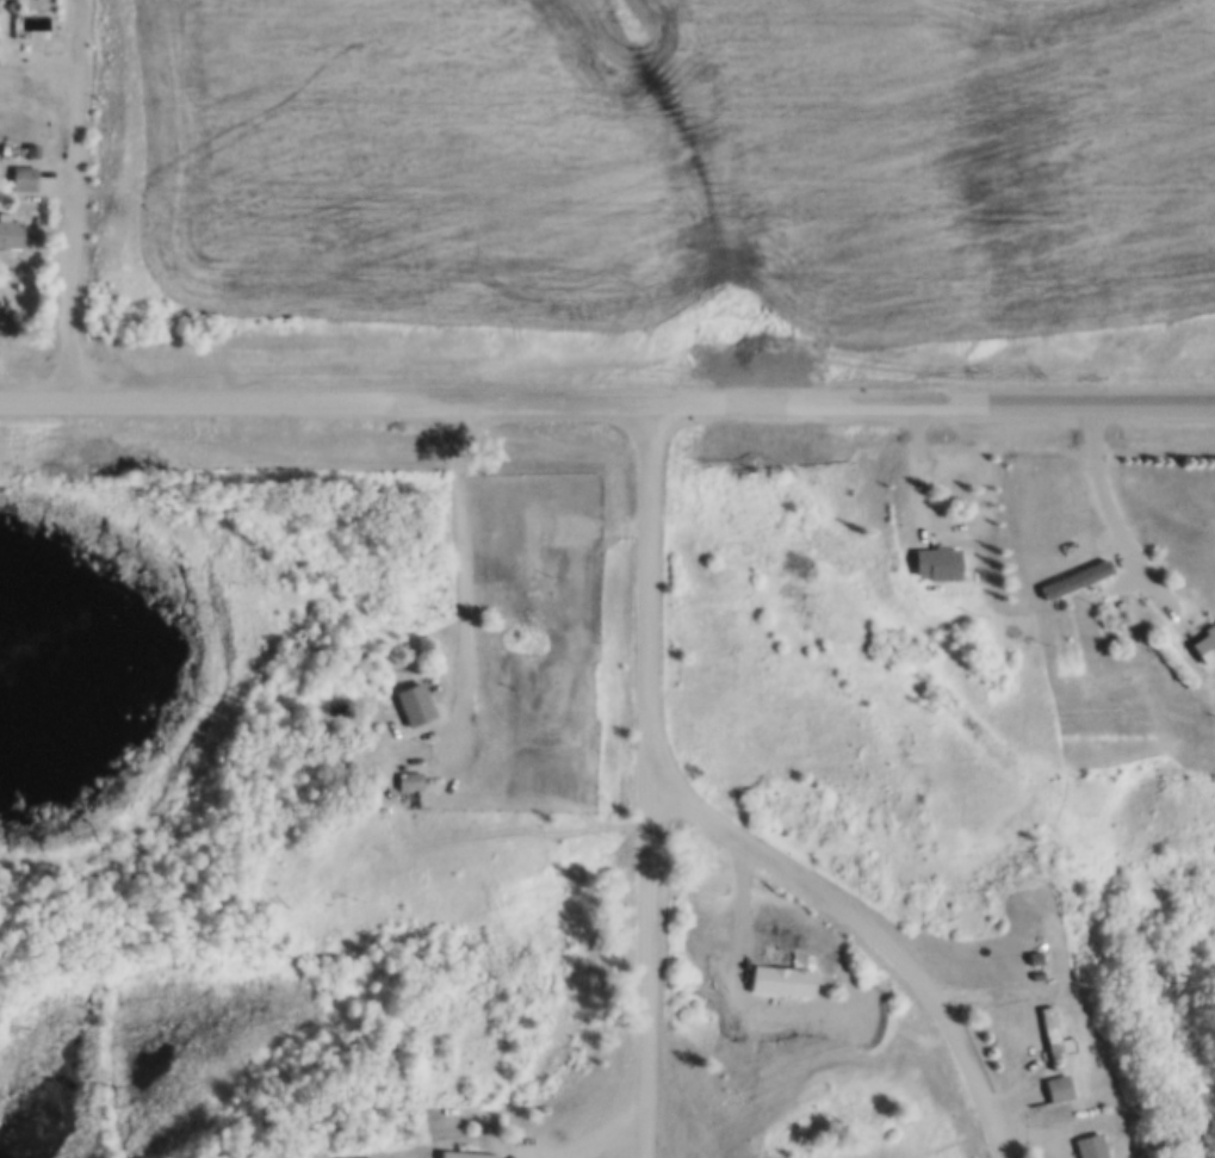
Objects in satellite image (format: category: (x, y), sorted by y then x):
building: (0, 123)
building: (16, 128)
building: (27, 135)
building: (4, 147)
building: (31, 147)
building: (24, 175)
road: (76, 200)
building: (8, 230)
road: (607, 402)
road: (1115, 514)
building: (531, 538)
building: (935, 561)
road: (461, 576)
building: (1099, 611)
building: (1203, 644)
building: (413, 700)
building: (409, 776)
road: (721, 825)
road: (652, 948)
building: (1034, 955)
building: (1036, 972)
building: (781, 977)
building: (1034, 987)
building: (743, 1002)
building: (1052, 1038)
building: (1055, 1085)
building: (677, 1132)
road: (953, 1138)
building: (1090, 1144)
building: (464, 1153)
building: (354, 1157)

